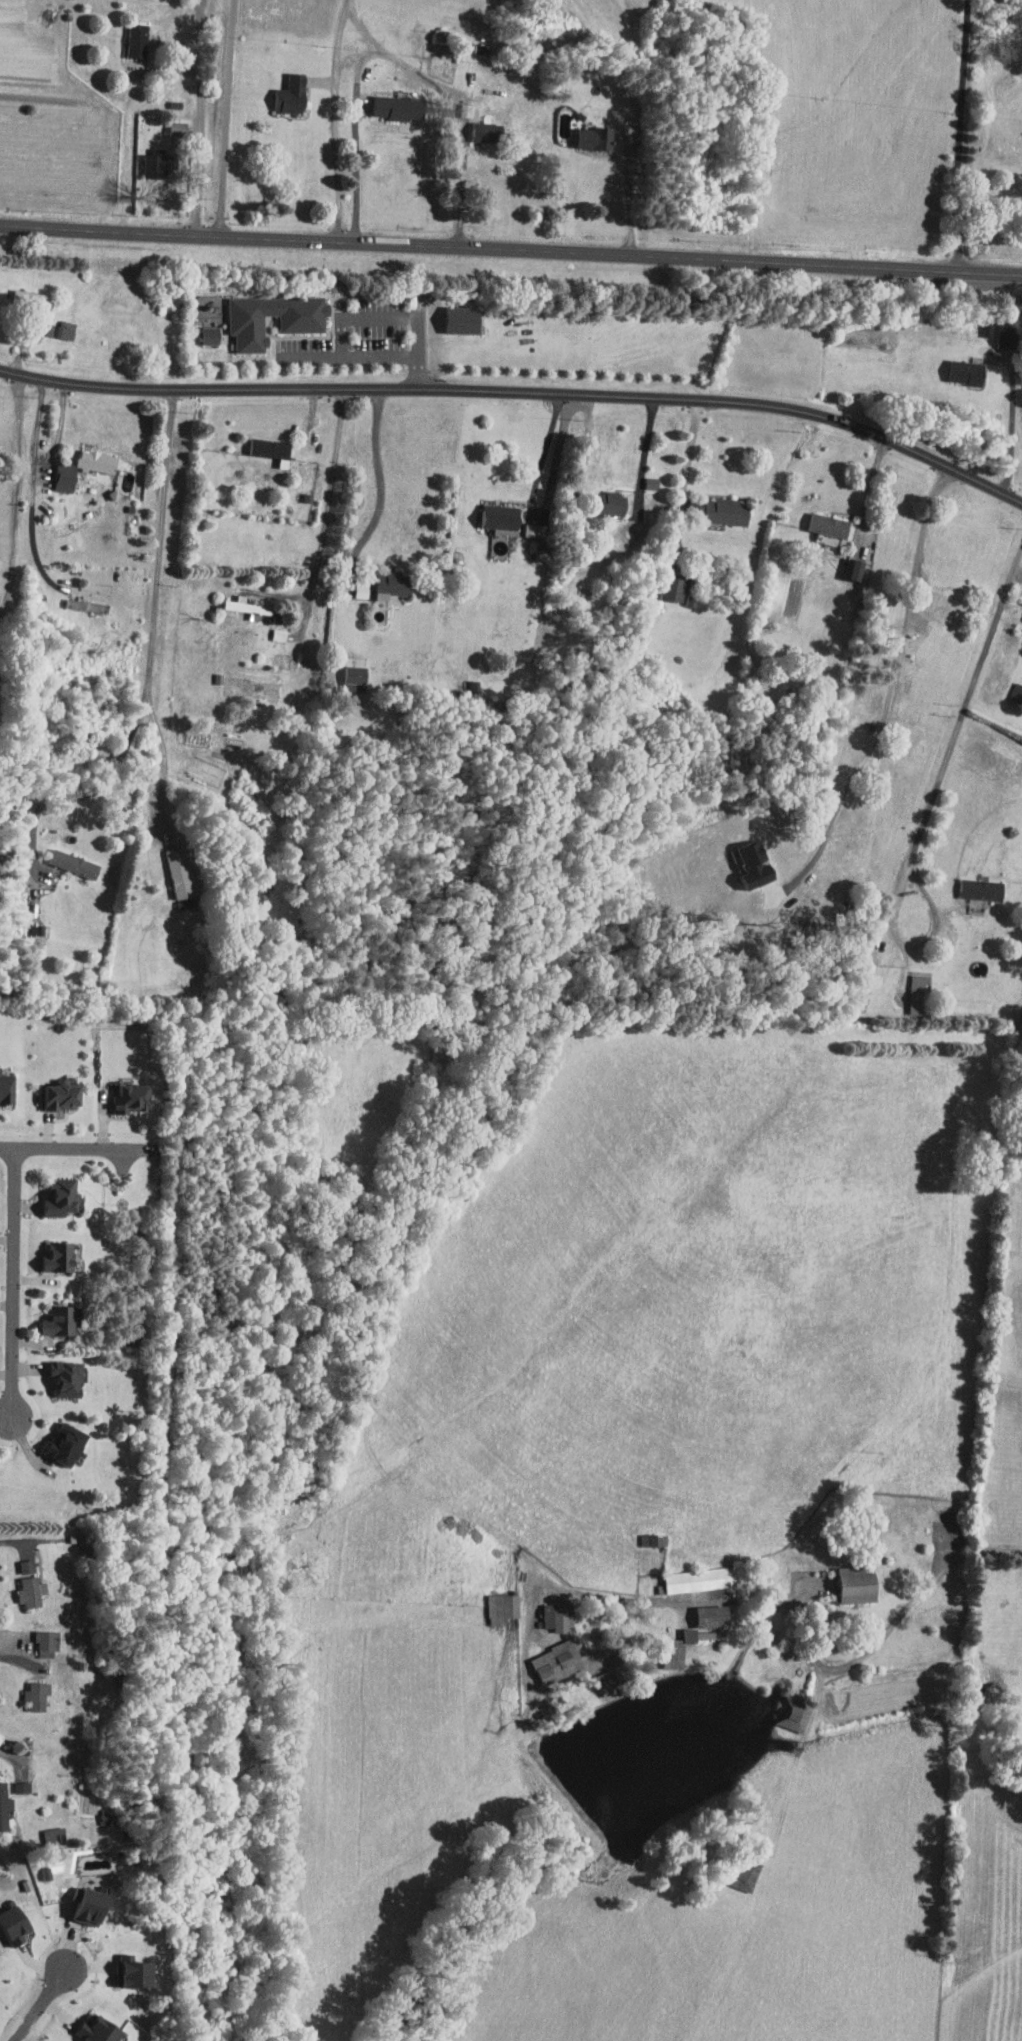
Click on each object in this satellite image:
road: (365, 29)
building: (138, 39)
road: (395, 58)
building: (292, 94)
building: (400, 107)
road: (200, 117)
road: (227, 118)
road: (336, 120)
building: (488, 131)
road: (974, 136)
building: (595, 137)
building: (159, 163)
road: (631, 202)
road: (510, 250)
building: (32, 300)
road: (380, 316)
building: (463, 319)
building: (302, 325)
building: (989, 328)
building: (61, 331)
parking lot: (368, 335)
building: (1008, 336)
building: (210, 337)
road: (369, 358)
building: (968, 372)
road: (520, 391)
road: (1013, 423)
building: (272, 450)
road: (542, 451)
road: (644, 452)
road: (690, 455)
road: (40, 458)
building: (98, 461)
building: (66, 476)
road: (581, 478)
building: (653, 483)
road: (381, 485)
road: (18, 501)
building: (613, 503)
road: (328, 510)
building: (720, 510)
building: (502, 518)
building: (830, 524)
road: (30, 529)
building: (537, 530)
road: (162, 542)
building: (541, 550)
building: (857, 570)
building: (393, 584)
building: (674, 587)
building: (1020, 598)
building: (948, 602)
building: (250, 608)
building: (280, 634)
building: (357, 678)
road: (888, 690)
building: (1017, 692)
road: (965, 706)
road: (167, 760)
road: (91, 791)
building: (75, 863)
building: (755, 864)
building: (181, 873)
building: (982, 889)
road: (915, 945)
building: (921, 994)
building: (7, 1088)
building: (63, 1096)
building: (132, 1098)
road: (77, 1147)
building: (62, 1198)
building: (61, 1258)
road: (15, 1283)
building: (62, 1321)
building: (68, 1379)
building: (67, 1445)
road: (8, 1542)
building: (699, 1579)
building: (858, 1583)
building: (32, 1584)
road: (915, 1597)
road: (647, 1602)
building: (504, 1607)
building: (559, 1616)
building: (713, 1616)
building: (48, 1642)
building: (674, 1654)
road: (20, 1660)
building: (558, 1662)
building: (608, 1682)
building: (38, 1694)
road: (15, 1759)
building: (23, 1786)
building: (5, 1805)
building: (55, 1836)
building: (47, 1872)
building: (748, 1876)
building: (91, 1905)
road: (40, 2004)
building: (99, 2030)

